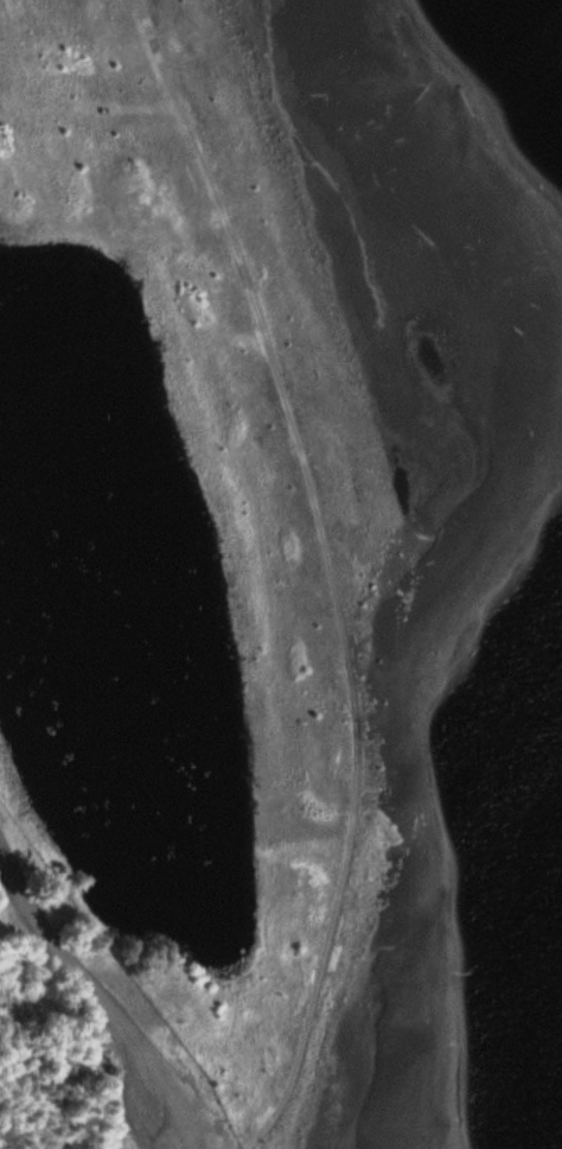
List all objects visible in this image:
road: (102, 998)

